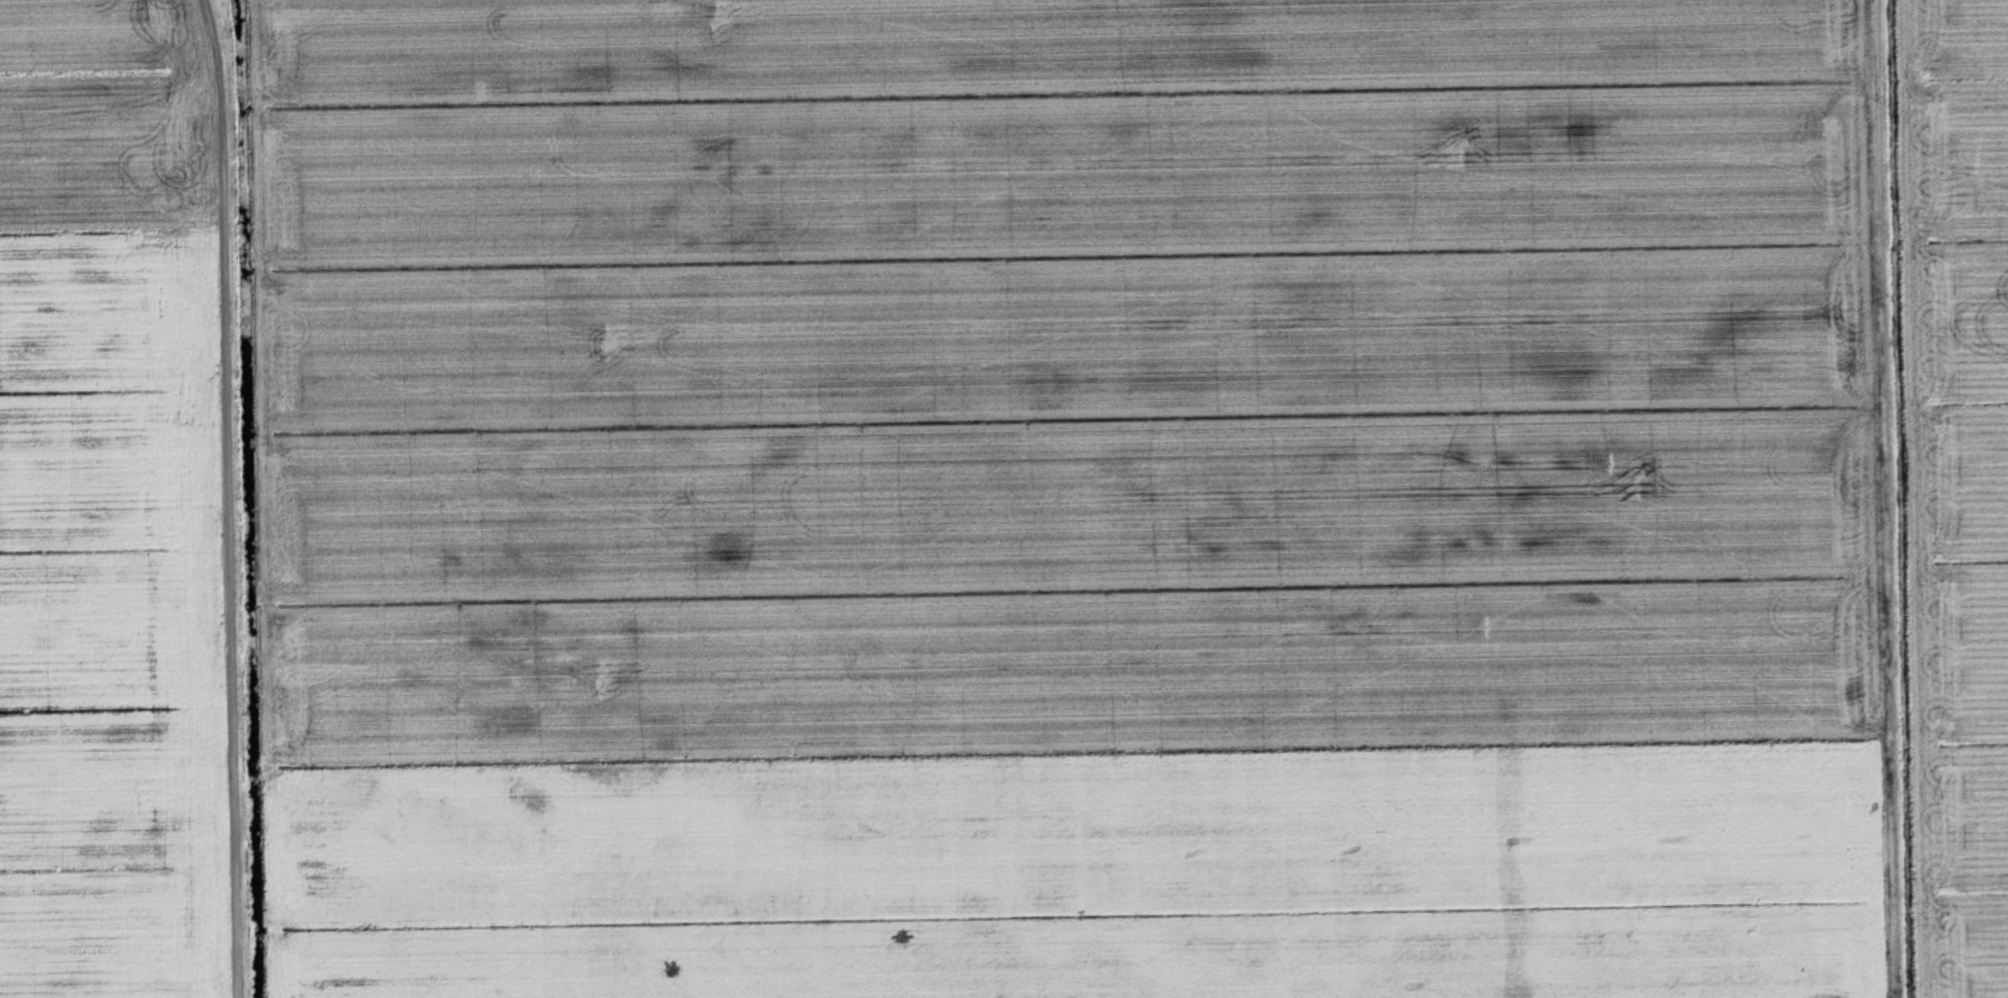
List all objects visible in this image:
road: (111, 197)
crop: (1958, 480)
road: (226, 498)
crop: (1069, 499)
road: (1890, 499)

